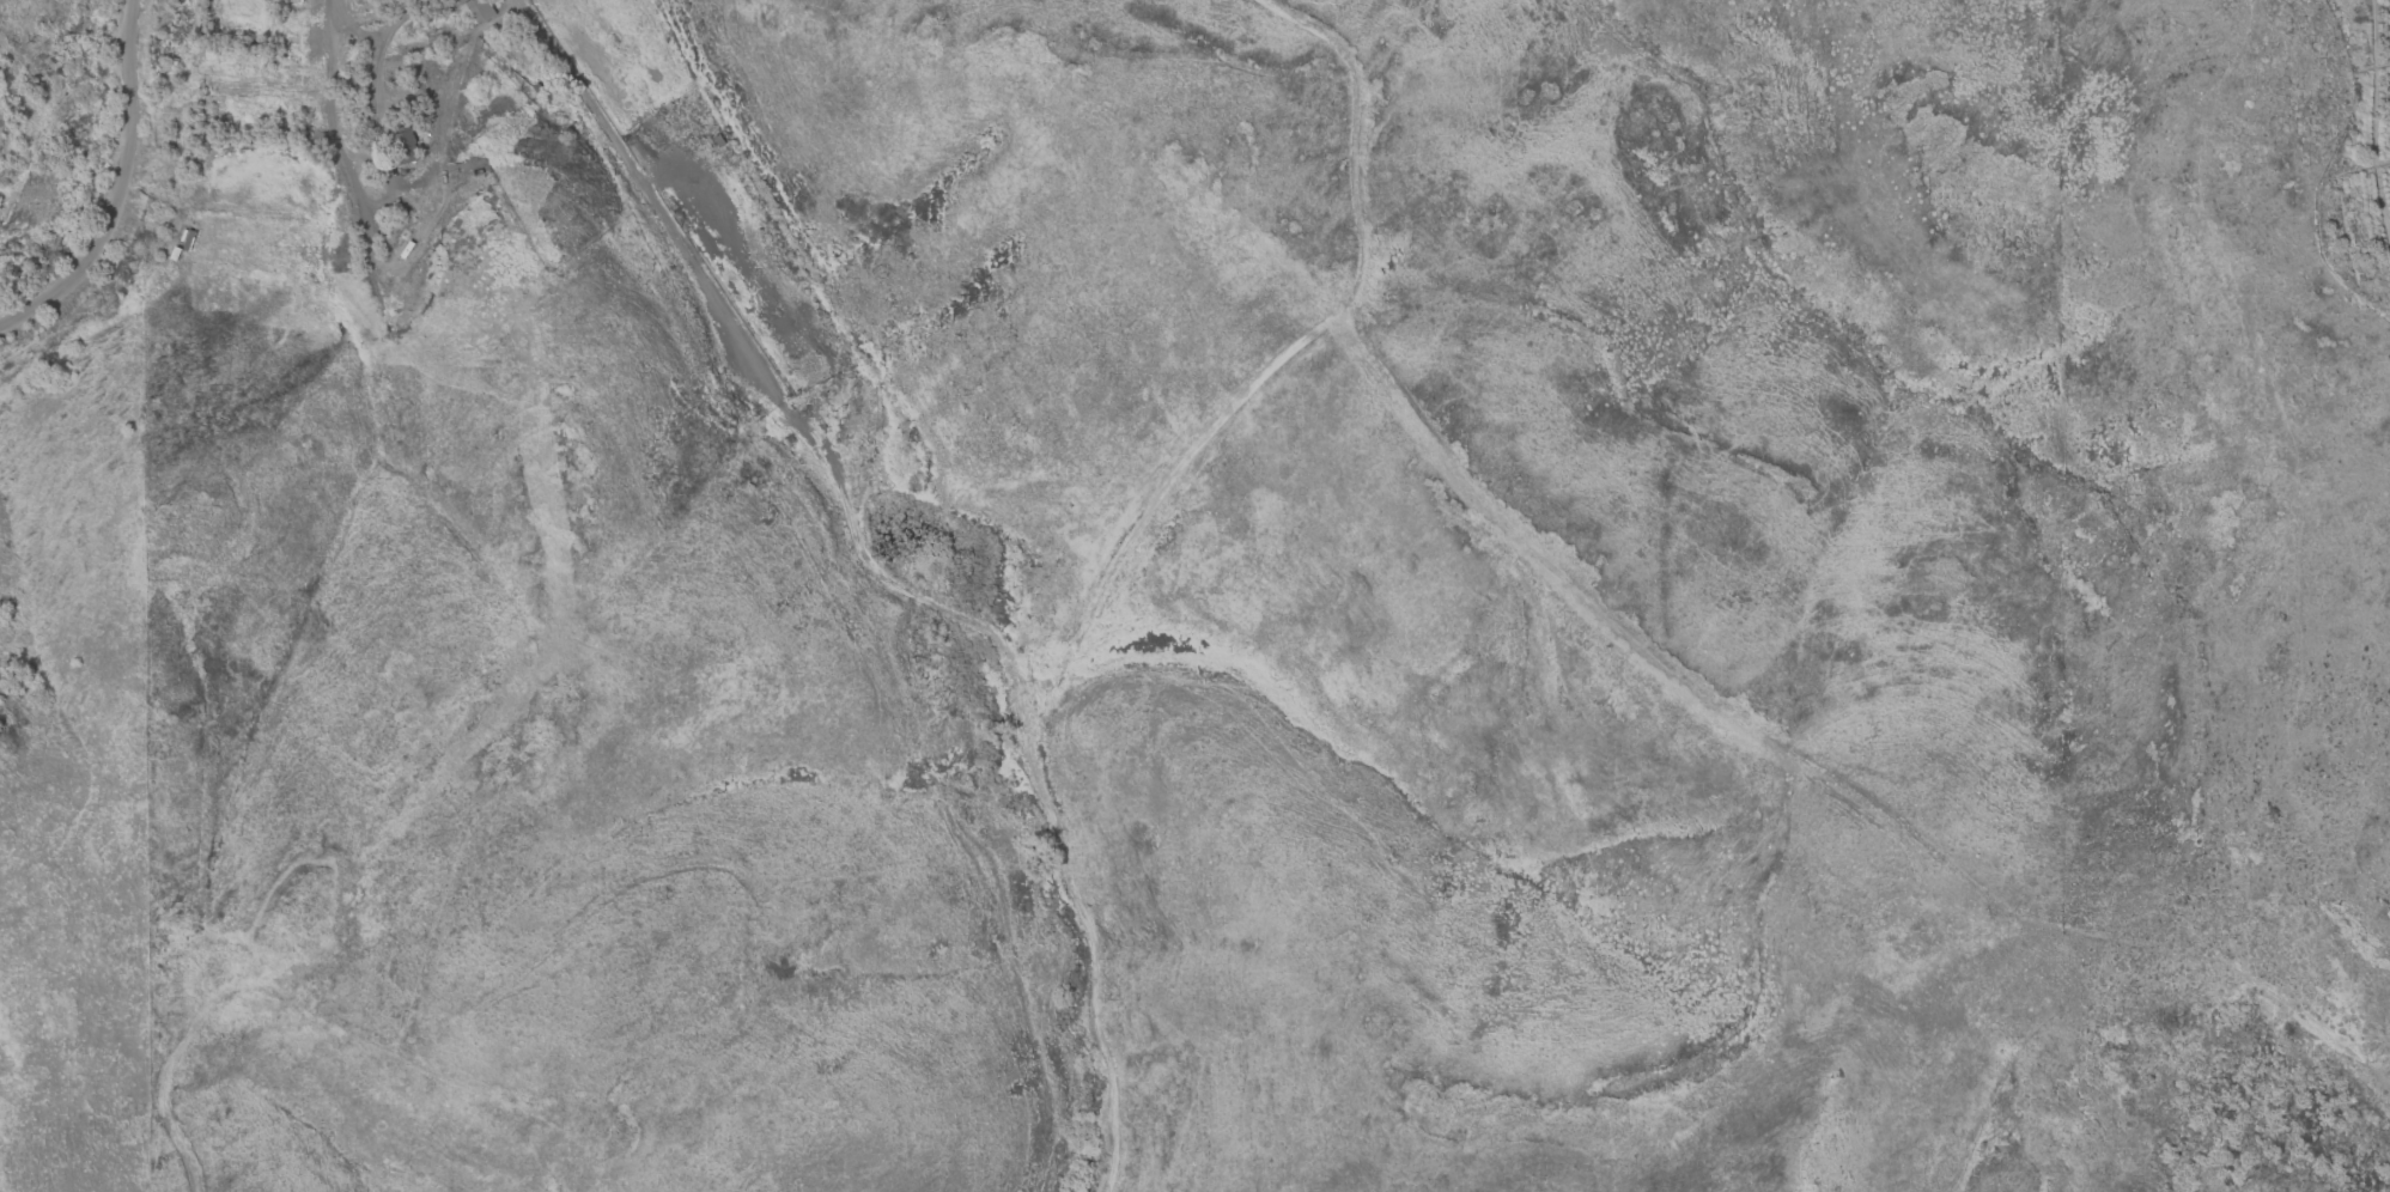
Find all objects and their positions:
building: (475, 11)
building: (401, 145)
road: (120, 191)
road: (691, 261)
road: (1060, 823)

